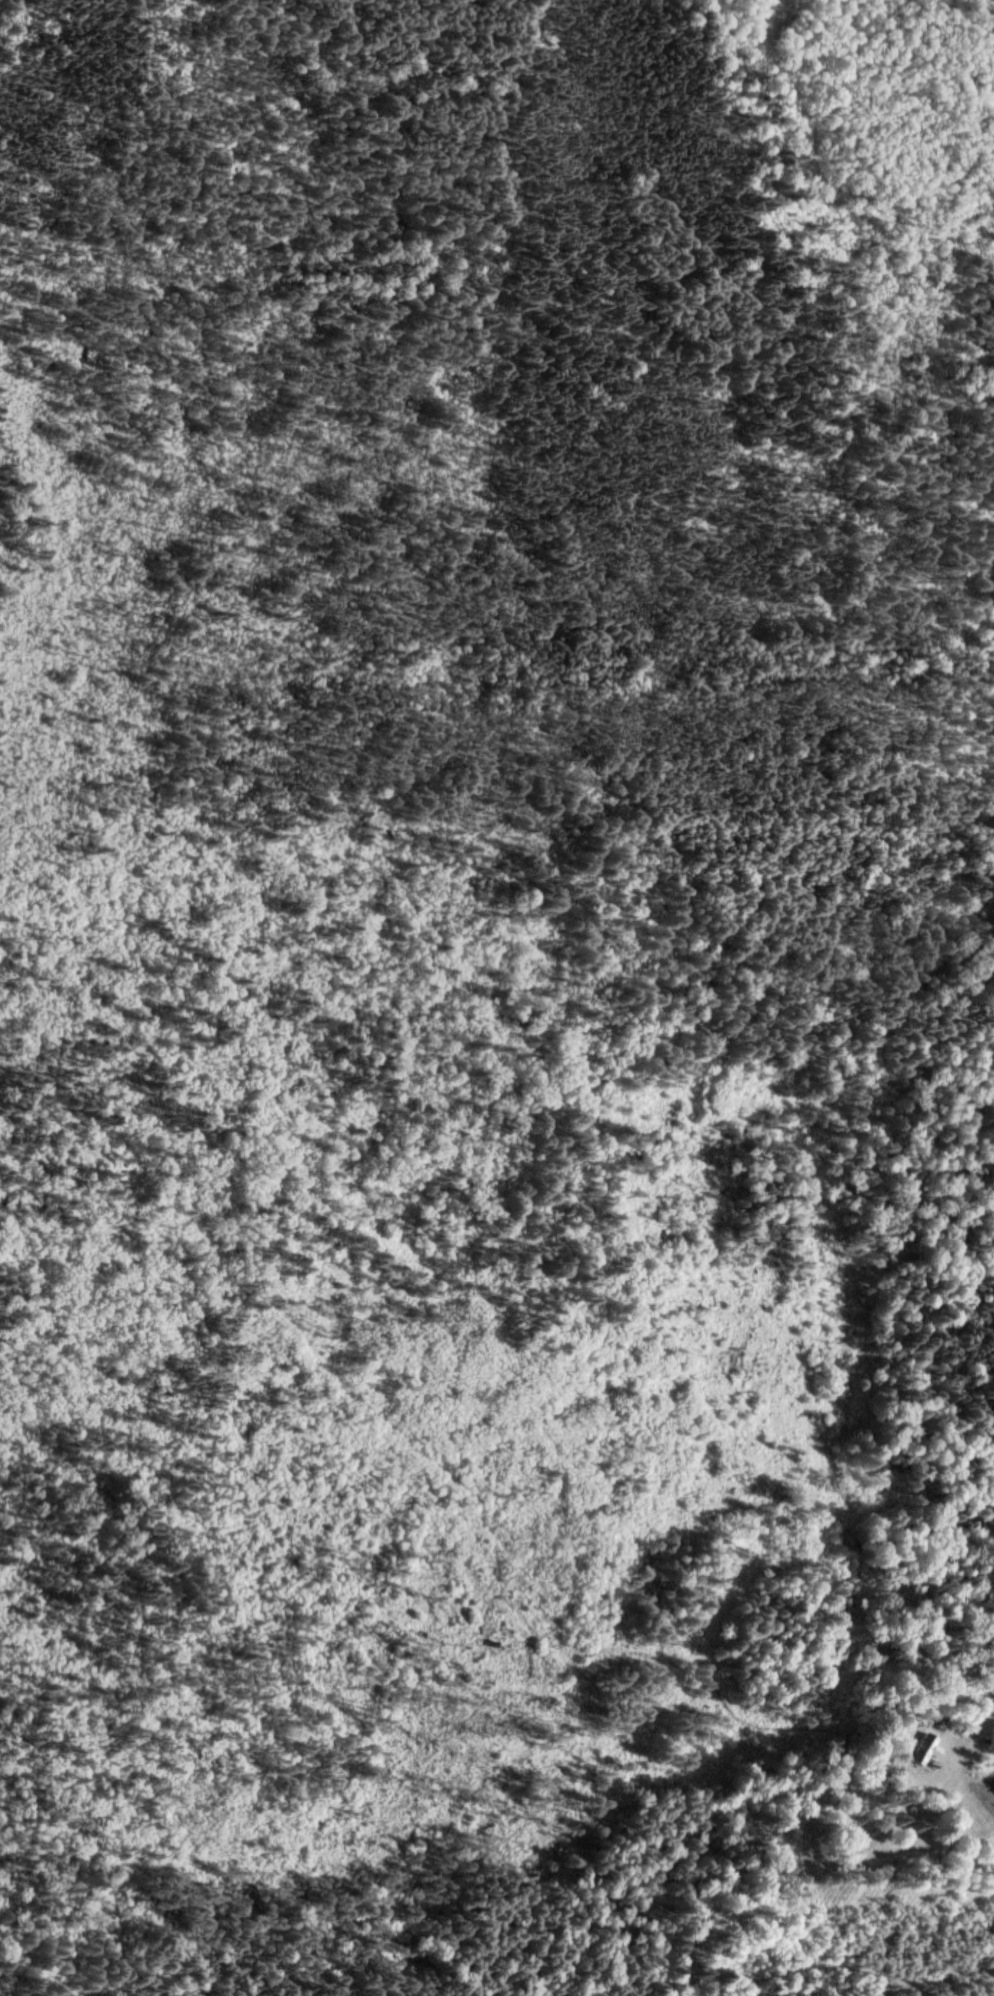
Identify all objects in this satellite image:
building: (925, 1749)
road: (965, 1796)
road: (860, 1981)

